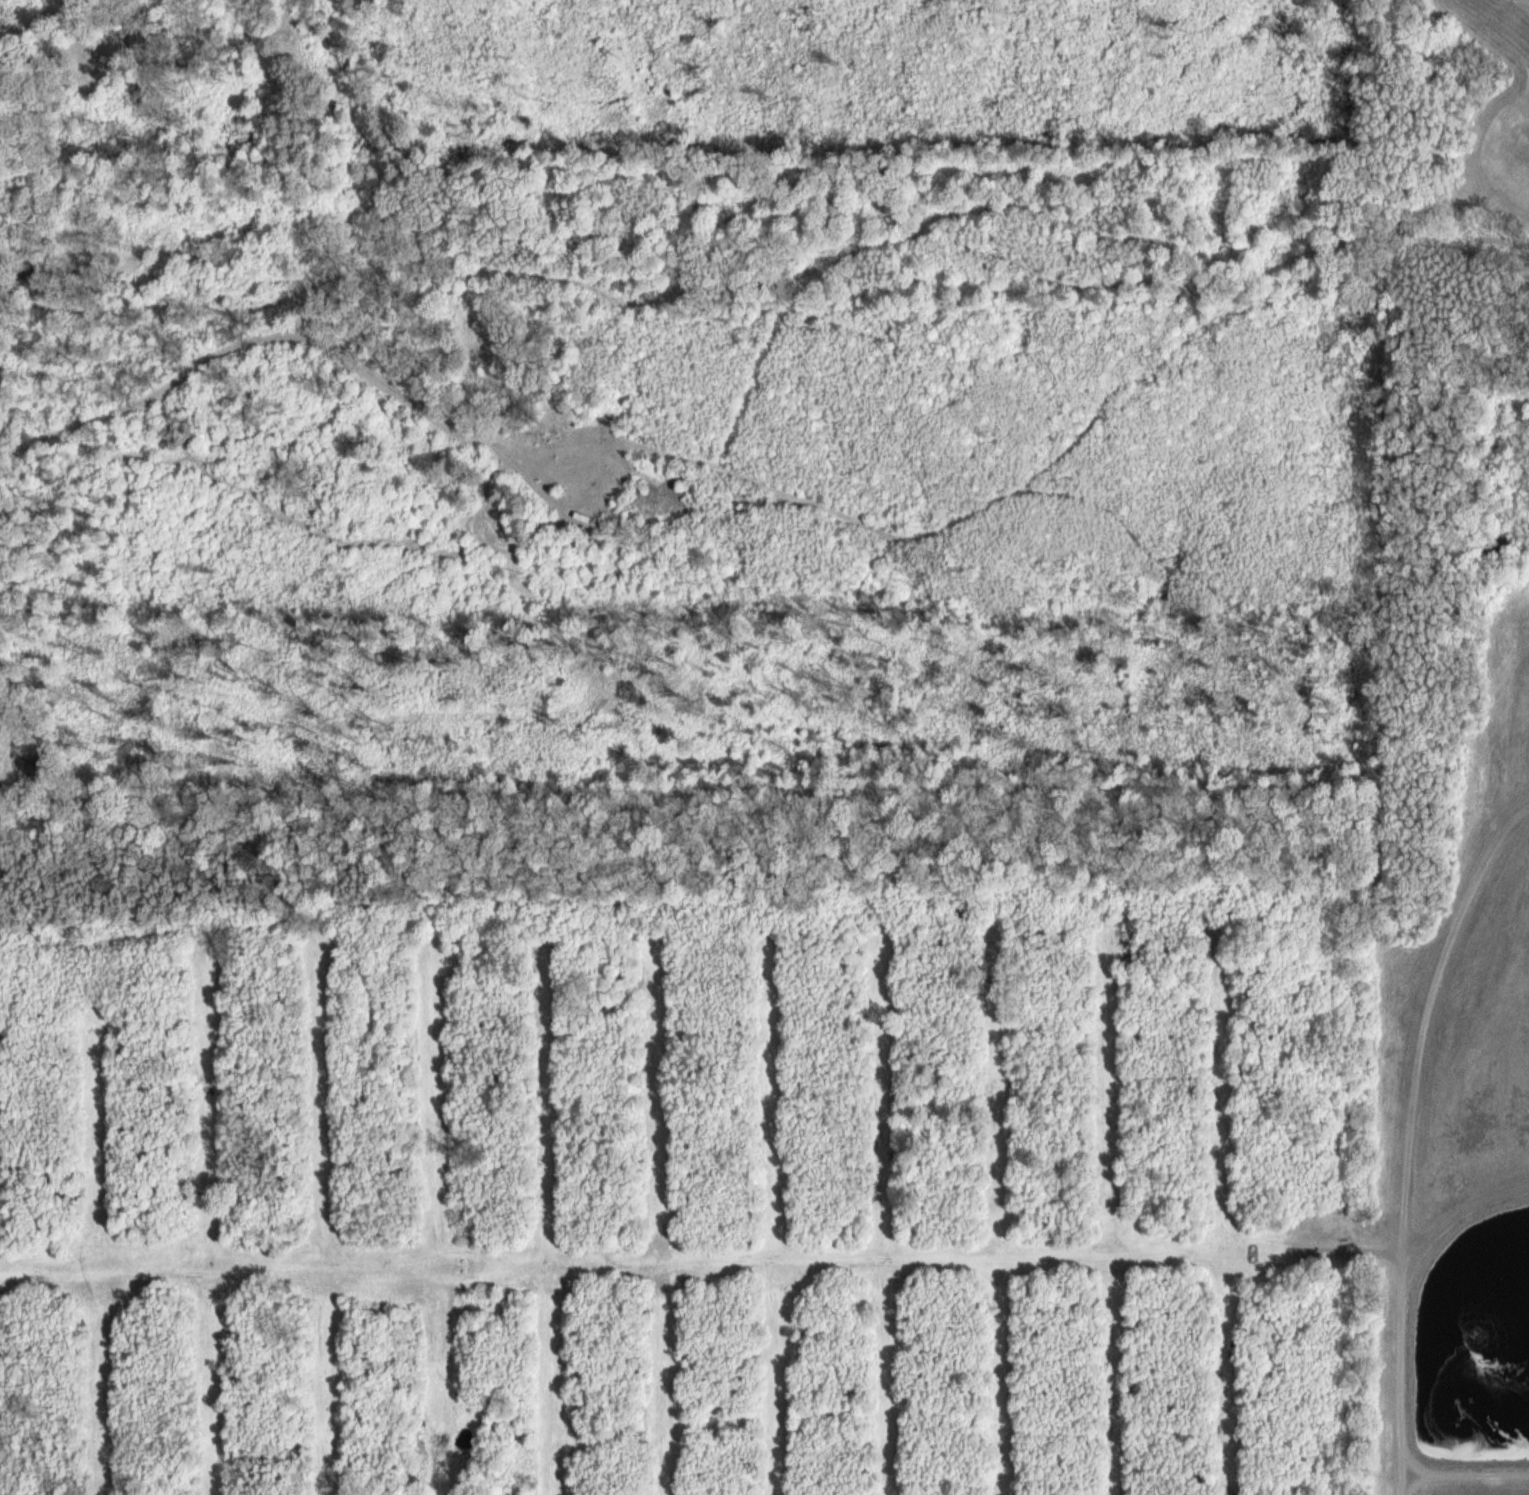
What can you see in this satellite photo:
road: (13, 77)
park: (1438, 156)
wastewater plant: (1442, 893)

